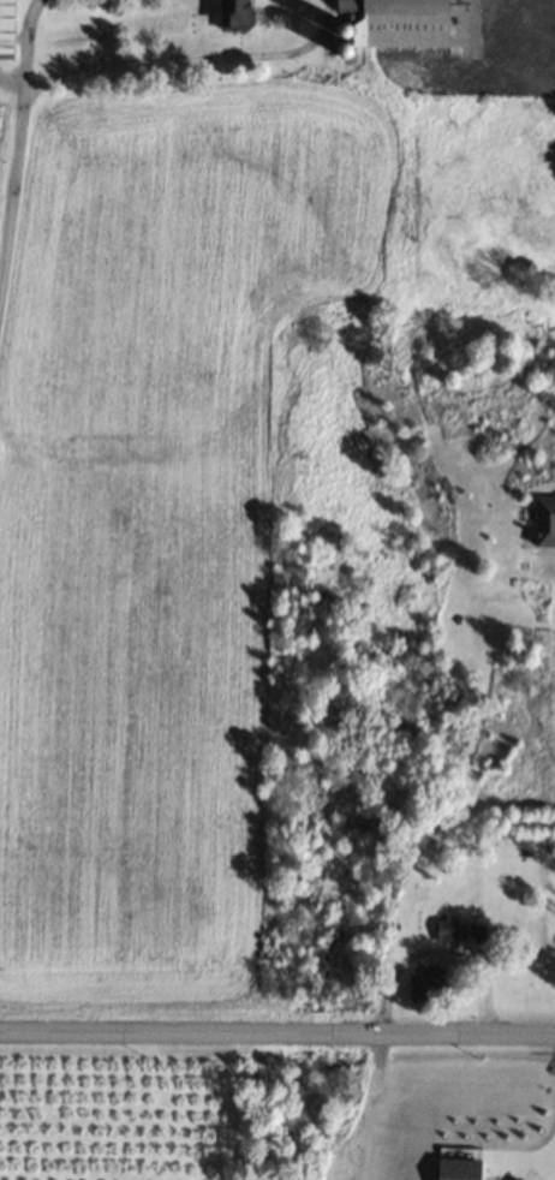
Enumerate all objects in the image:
building: (237, 14)
building: (396, 22)
building: (6, 29)
crop: (497, 155)
building: (544, 518)
building: (447, 929)
building: (426, 983)
road: (277, 1033)

